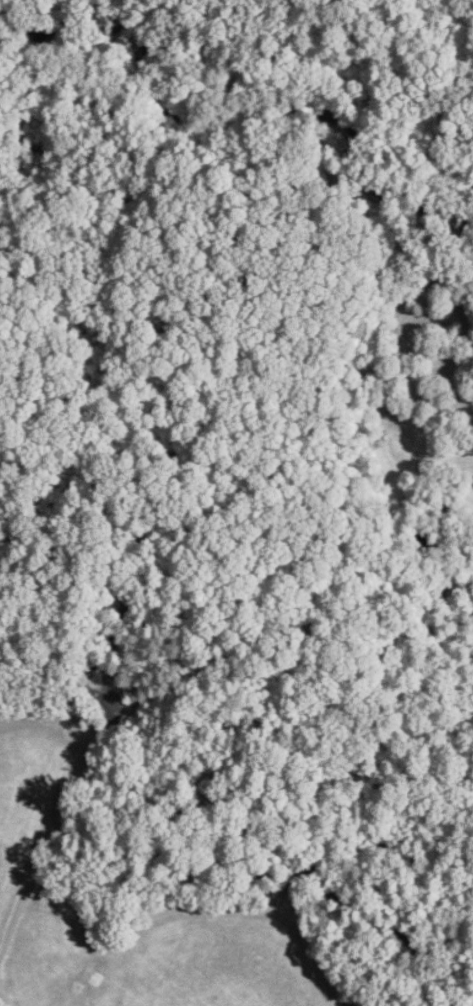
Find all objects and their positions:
road: (44, 846)

